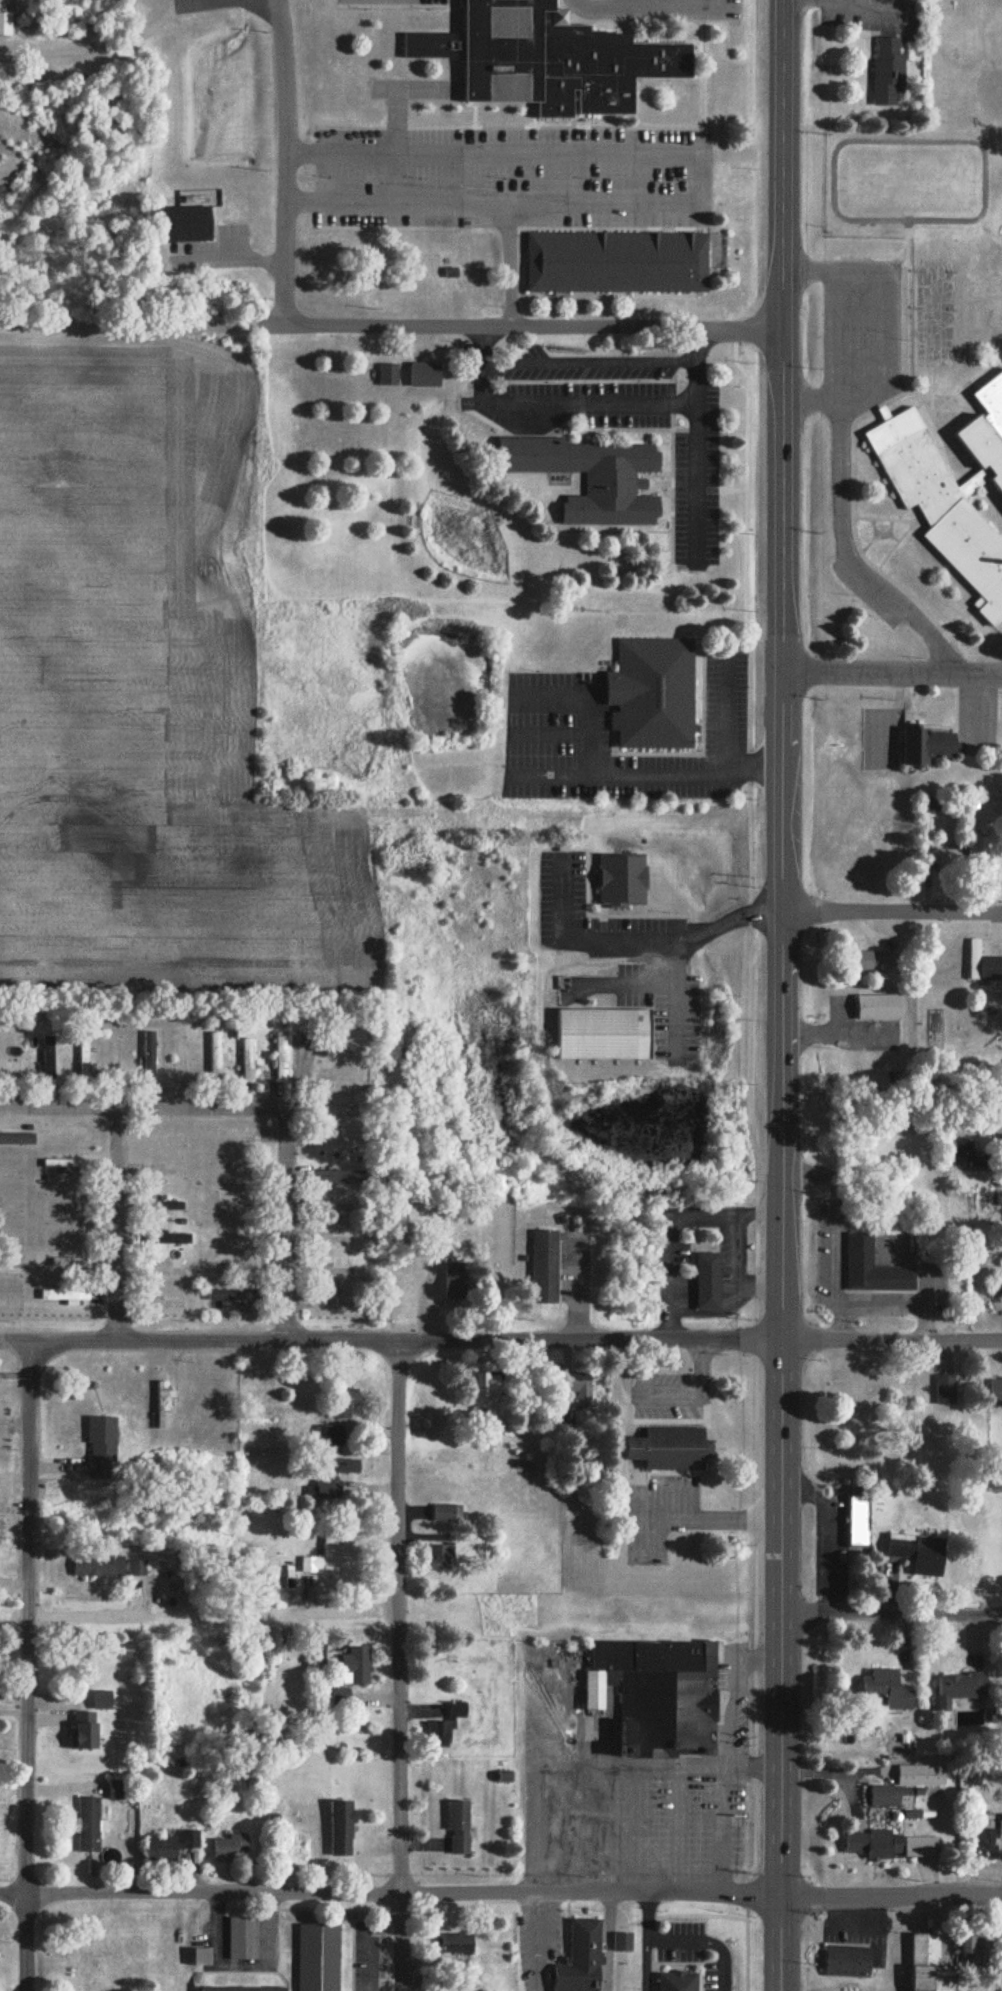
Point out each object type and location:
building: (6, 24)
building: (430, 46)
building: (559, 61)
building: (890, 72)
road: (292, 163)
road: (459, 202)
building: (187, 225)
building: (619, 263)
road: (390, 329)
road: (882, 329)
road: (840, 333)
building: (389, 375)
building: (425, 375)
road: (587, 404)
road: (697, 473)
building: (593, 478)
building: (953, 495)
road: (847, 557)
road: (893, 674)
building: (653, 695)
road: (728, 713)
building: (928, 747)
road: (646, 777)
building: (945, 858)
building: (622, 882)
road: (892, 906)
road: (637, 941)
building: (879, 963)
building: (984, 965)
road: (626, 984)
road: (782, 995)
road: (675, 997)
building: (879, 1007)
building: (603, 1035)
building: (355, 1046)
building: (149, 1052)
building: (216, 1055)
building: (280, 1056)
building: (49, 1057)
building: (182, 1057)
building: (84, 1059)
building: (248, 1059)
building: (117, 1060)
building: (348, 1078)
road: (138, 1108)
building: (338, 1111)
building: (68, 1132)
building: (239, 1135)
building: (17, 1139)
building: (339, 1144)
building: (971, 1156)
building: (66, 1165)
building: (240, 1167)
building: (176, 1173)
road: (281, 1197)
building: (80, 1199)
building: (234, 1199)
building: (166, 1206)
building: (337, 1208)
road: (121, 1223)
building: (69, 1230)
building: (238, 1230)
building: (173, 1239)
building: (338, 1241)
building: (69, 1263)
building: (241, 1266)
building: (545, 1267)
building: (874, 1268)
building: (11, 1271)
building: (171, 1272)
building: (213, 1280)
building: (455, 1282)
building: (708, 1282)
building: (1001, 1289)
building: (234, 1295)
building: (66, 1297)
road: (500, 1341)
building: (860, 1383)
building: (487, 1386)
building: (582, 1390)
building: (946, 1390)
building: (996, 1390)
building: (342, 1403)
building: (164, 1407)
building: (331, 1436)
building: (103, 1443)
building: (670, 1449)
building: (332, 1475)
building: (446, 1514)
building: (857, 1522)
building: (919, 1553)
building: (322, 1557)
building: (441, 1558)
building: (100, 1566)
building: (137, 1569)
road: (513, 1611)
building: (268, 1652)
building: (357, 1665)
road: (25, 1666)
road: (397, 1666)
building: (960, 1689)
building: (887, 1690)
road: (735, 1692)
building: (659, 1695)
building: (341, 1698)
building: (103, 1701)
building: (446, 1727)
building: (84, 1731)
road: (609, 1766)
building: (907, 1786)
building: (118, 1791)
building: (458, 1828)
building: (1001, 1828)
building: (341, 1829)
road: (639, 1829)
road: (679, 1829)
road: (720, 1829)
building: (986, 1841)
building: (171, 1846)
building: (890, 1846)
building: (230, 1848)
road: (501, 1894)
building: (179, 1936)
building: (242, 1937)
building: (623, 1943)
building: (456, 1949)
building: (975, 1951)
building: (582, 1954)
building: (318, 1956)
building: (201, 1957)
building: (848, 1961)
building: (929, 1964)
building: (76, 1981)
building: (679, 1981)
building: (245, 1988)
building: (986, 1990)

